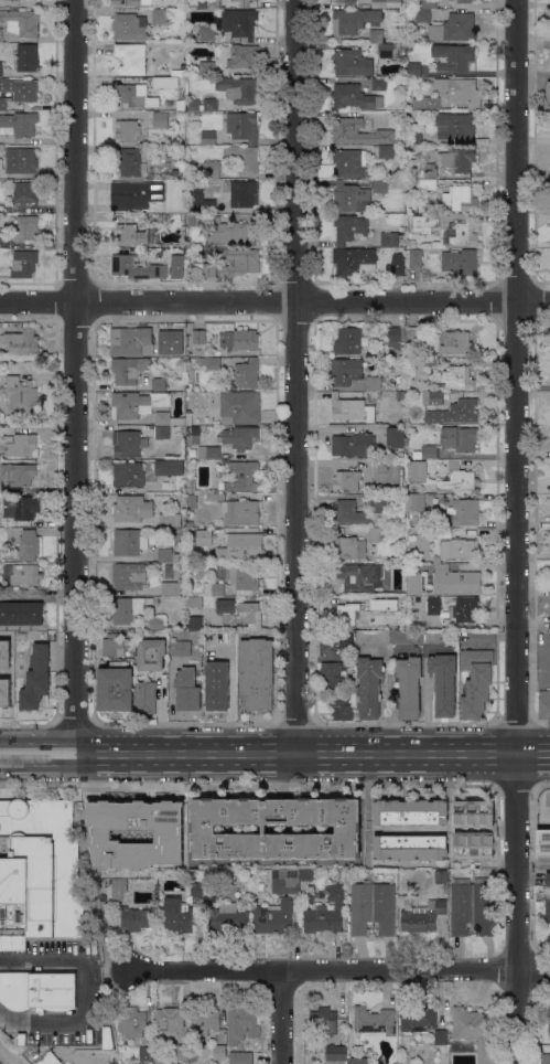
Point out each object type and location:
building: (462, 0)
building: (344, 1)
building: (127, 2)
building: (244, 2)
building: (202, 3)
building: (386, 3)
building: (429, 3)
building: (213, 4)
building: (420, 14)
building: (159, 17)
building: (22, 21)
building: (352, 21)
building: (233, 25)
building: (129, 26)
building: (454, 28)
building: (0, 34)
building: (376, 35)
building: (409, 46)
building: (387, 51)
building: (26, 57)
building: (244, 57)
building: (457, 57)
building: (131, 58)
building: (352, 62)
building: (1, 68)
building: (206, 68)
building: (414, 70)
building: (177, 73)
building: (154, 82)
building: (378, 84)
building: (21, 88)
building: (238, 89)
building: (460, 91)
building: (548, 94)
building: (133, 96)
building: (354, 97)
building: (429, 103)
building: (2, 104)
building: (202, 105)
building: (160, 119)
building: (19, 124)
building: (455, 125)
building: (242, 126)
building: (127, 131)
building: (359, 131)
building: (208, 138)
building: (414, 138)
building: (386, 151)
building: (248, 159)
building: (456, 159)
building: (21, 160)
building: (130, 162)
building: (348, 163)
building: (212, 169)
building: (429, 170)
building: (425, 183)
building: (378, 185)
building: (25, 193)
building: (240, 193)
building: (138, 198)
building: (349, 198)
building: (198, 199)
building: (460, 199)
building: (155, 220)
building: (192, 221)
building: (423, 223)
building: (26, 228)
building: (349, 230)
building: (230, 231)
building: (126, 234)
building: (460, 234)
building: (389, 240)
building: (412, 243)
building: (160, 251)
building: (139, 252)
building: (414, 258)
building: (354, 260)
building: (241, 262)
building: (461, 262)
building: (24, 264)
building: (398, 265)
building: (176, 266)
building: (136, 267)
building: (209, 270)
road: (274, 301)
building: (197, 336)
building: (397, 338)
building: (239, 339)
building: (412, 339)
building: (22, 341)
building: (131, 341)
building: (176, 341)
building: (347, 341)
building: (455, 342)
building: (429, 361)
building: (209, 362)
building: (129, 369)
building: (345, 371)
building: (247, 374)
road: (79, 375)
road: (289, 375)
building: (456, 377)
building: (373, 383)
building: (160, 384)
building: (21, 395)
building: (400, 395)
building: (432, 397)
building: (137, 404)
building: (239, 407)
building: (351, 408)
building: (455, 412)
building: (188, 417)
building: (168, 418)
building: (195, 429)
building: (162, 432)
building: (395, 436)
building: (239, 437)
building: (459, 438)
building: (127, 444)
building: (355, 445)
building: (22, 446)
building: (206, 451)
building: (425, 453)
building: (380, 466)
building: (169, 468)
building: (418, 471)
building: (128, 474)
building: (223, 474)
building: (17, 475)
building: (241, 476)
building: (457, 478)
building: (345, 480)
building: (191, 487)
building: (215, 491)
building: (215, 498)
building: (192, 499)
building: (379, 502)
building: (416, 502)
building: (20, 508)
building: (131, 509)
building: (242, 512)
building: (462, 512)
building: (349, 513)
building: (169, 520)
building: (190, 524)
road: (519, 532)
building: (214, 533)
building: (375, 534)
building: (202, 536)
building: (128, 542)
building: (419, 543)
building: (29, 544)
building: (247, 544)
building: (348, 547)
building: (459, 549)
building: (166, 555)
building: (435, 558)
building: (169, 571)
building: (23, 574)
building: (129, 575)
building: (355, 576)
building: (244, 579)
building: (455, 581)
building: (413, 584)
building: (171, 588)
building: (214, 589)
building: (194, 602)
building: (384, 603)
building: (453, 608)
building: (128, 609)
building: (401, 609)
building: (239, 613)
building: (345, 614)
building: (21, 615)
building: (195, 623)
building: (158, 624)
building: (371, 636)
building: (406, 637)
building: (440, 637)
building: (345, 640)
building: (327, 645)
building: (115, 646)
building: (181, 648)
building: (151, 655)
building: (256, 673)
building: (332, 674)
building: (36, 679)
building: (476, 681)
building: (443, 683)
building: (216, 685)
building: (369, 687)
building: (408, 687)
building: (115, 689)
building: (186, 690)
building: (6, 695)
building: (145, 698)
road: (389, 702)
building: (544, 704)
building: (341, 706)
road: (260, 753)
road: (535, 753)
building: (410, 811)
building: (166, 822)
building: (204, 828)
building: (473, 829)
building: (543, 843)
building: (122, 844)
building: (411, 847)
building: (181, 854)
road: (536, 861)
building: (40, 869)
building: (209, 874)
building: (306, 874)
building: (441, 876)
building: (548, 879)
building: (118, 889)
building: (197, 890)
building: (310, 895)
building: (403, 901)
building: (287, 902)
building: (473, 905)
building: (373, 907)
building: (548, 912)
building: (325, 913)
building: (177, 915)
building: (422, 916)
building: (136, 918)
building: (228, 918)
building: (12, 943)
road: (341, 970)
road: (109, 980)
building: (37, 990)
road: (84, 992)
road: (441, 994)
road: (279, 1017)
building: (549, 1018)
building: (324, 1019)
building: (417, 1019)
building: (131, 1021)
building: (169, 1021)
building: (204, 1021)
building: (375, 1021)
building: (241, 1023)
building: (474, 1030)
building: (441, 1036)
building: (549, 1036)
building: (107, 1038)
building: (22, 1039)
building: (182, 1052)
building: (219, 1052)
building: (336, 1052)
building: (145, 1053)
road: (7, 1056)
building: (240, 1057)
building: (48, 1058)
building: (544, 1058)
building: (357, 1061)

